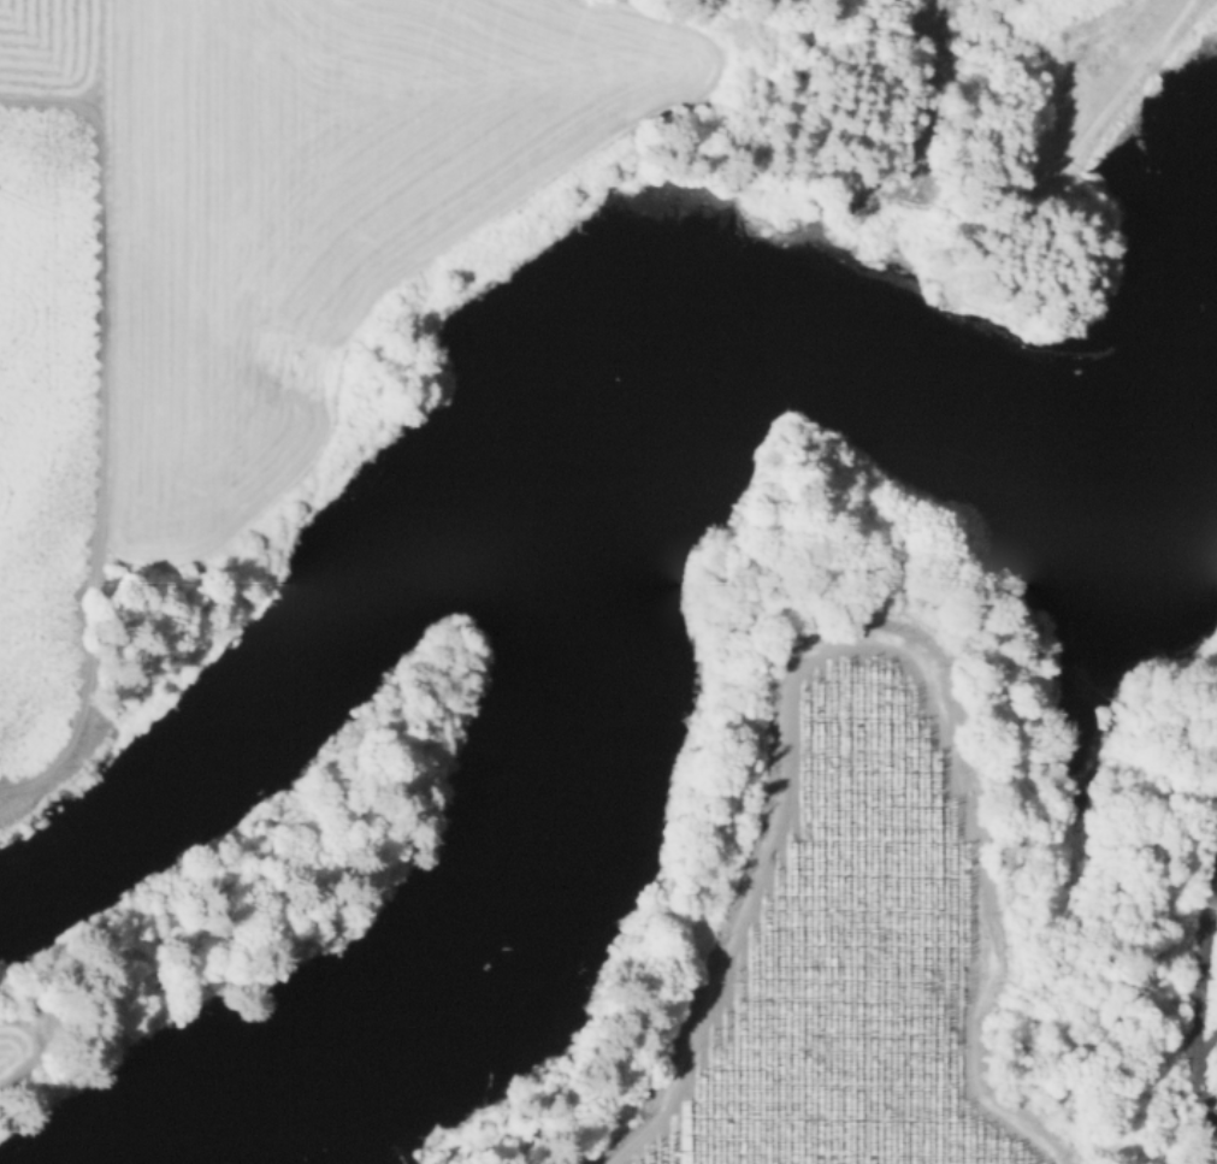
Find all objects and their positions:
crop: (240, 249)
dam: (923, 265)
crop: (844, 952)
crop: (5, 1054)

